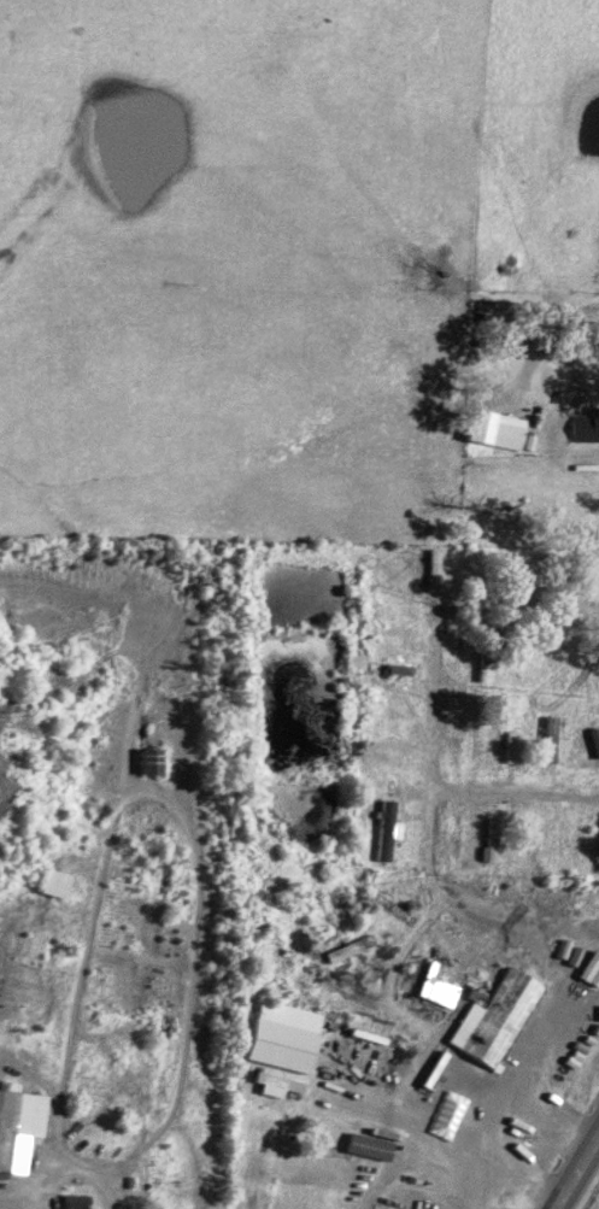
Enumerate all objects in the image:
building: (588, 427)
building: (505, 428)
building: (558, 739)
building: (158, 762)
building: (397, 829)
building: (500, 841)
road: (100, 882)
building: (61, 884)
building: (595, 973)
building: (446, 987)
building: (506, 1019)
building: (292, 1035)
building: (287, 1085)
building: (22, 1126)
building: (380, 1145)
road: (589, 1164)
road: (570, 1195)
building: (83, 1201)

